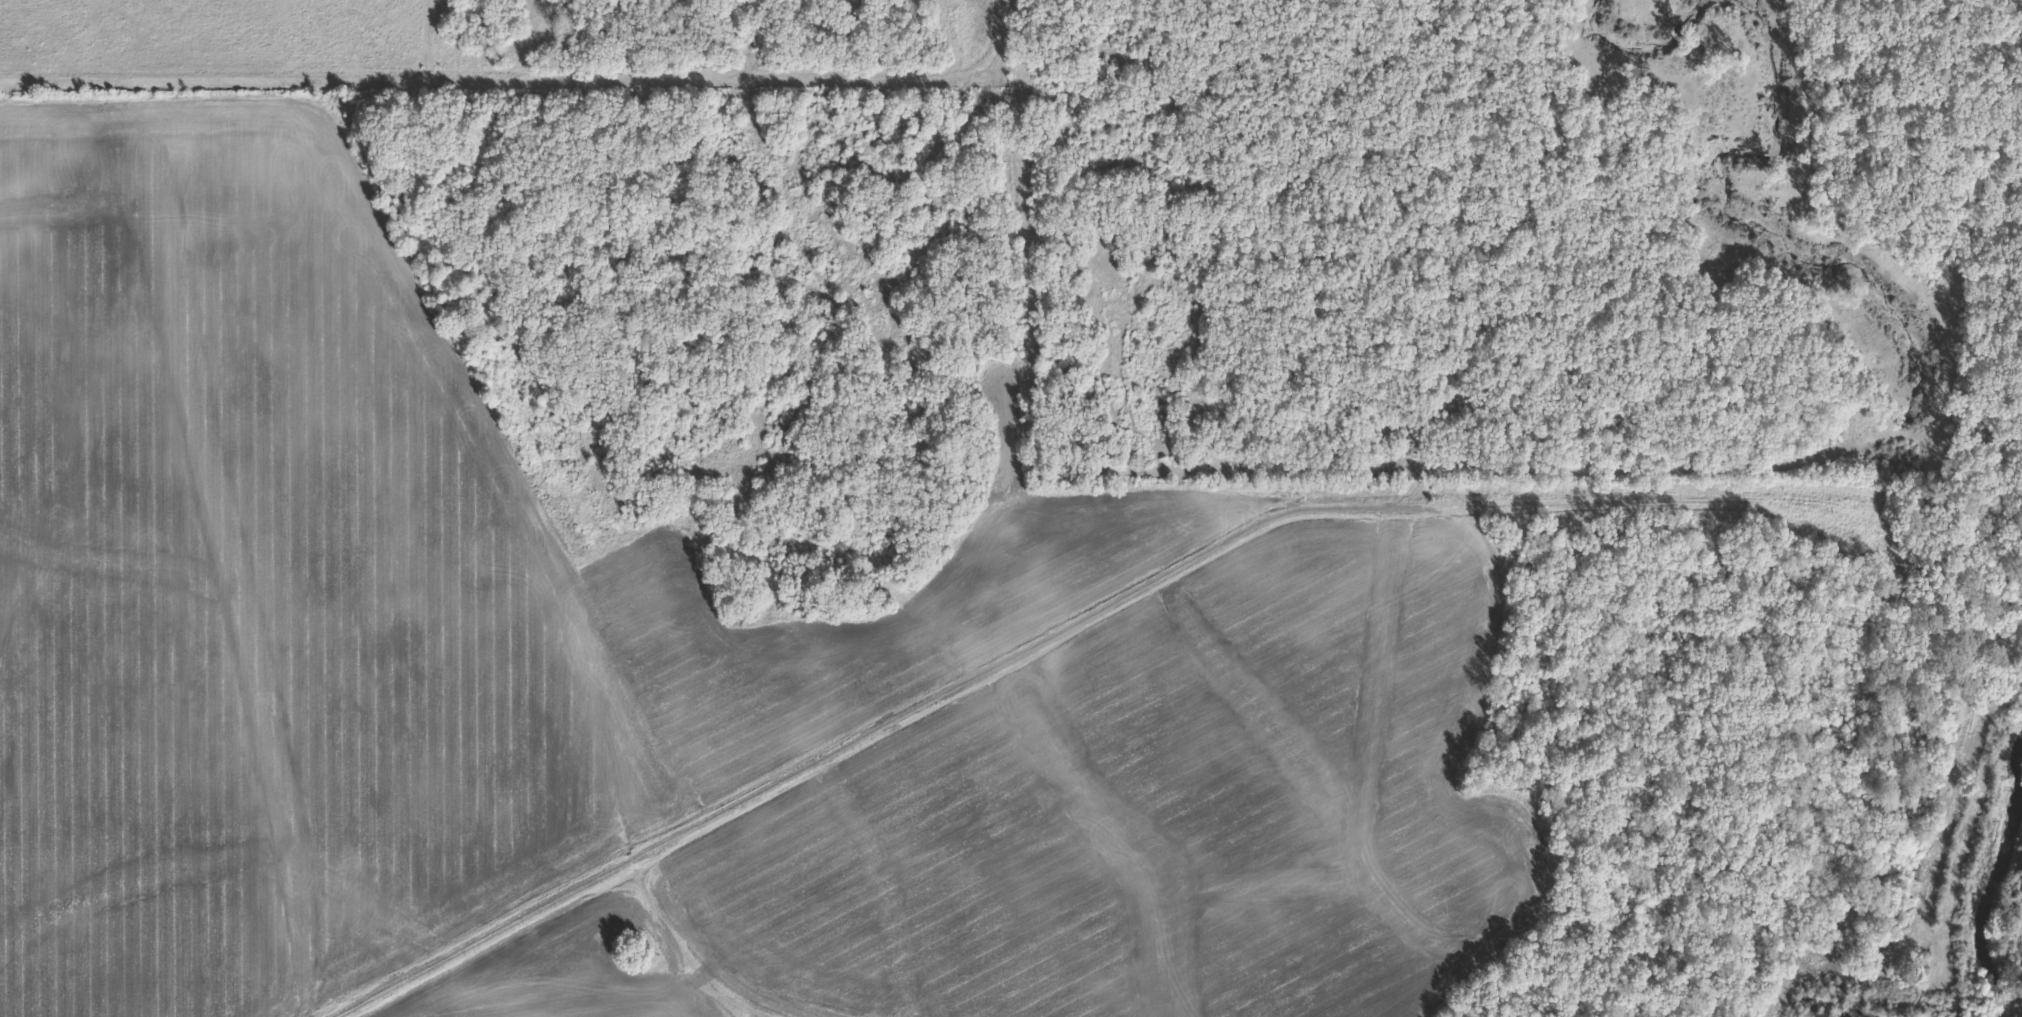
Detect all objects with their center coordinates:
river: (1987, 887)
river: (1861, 1010)

